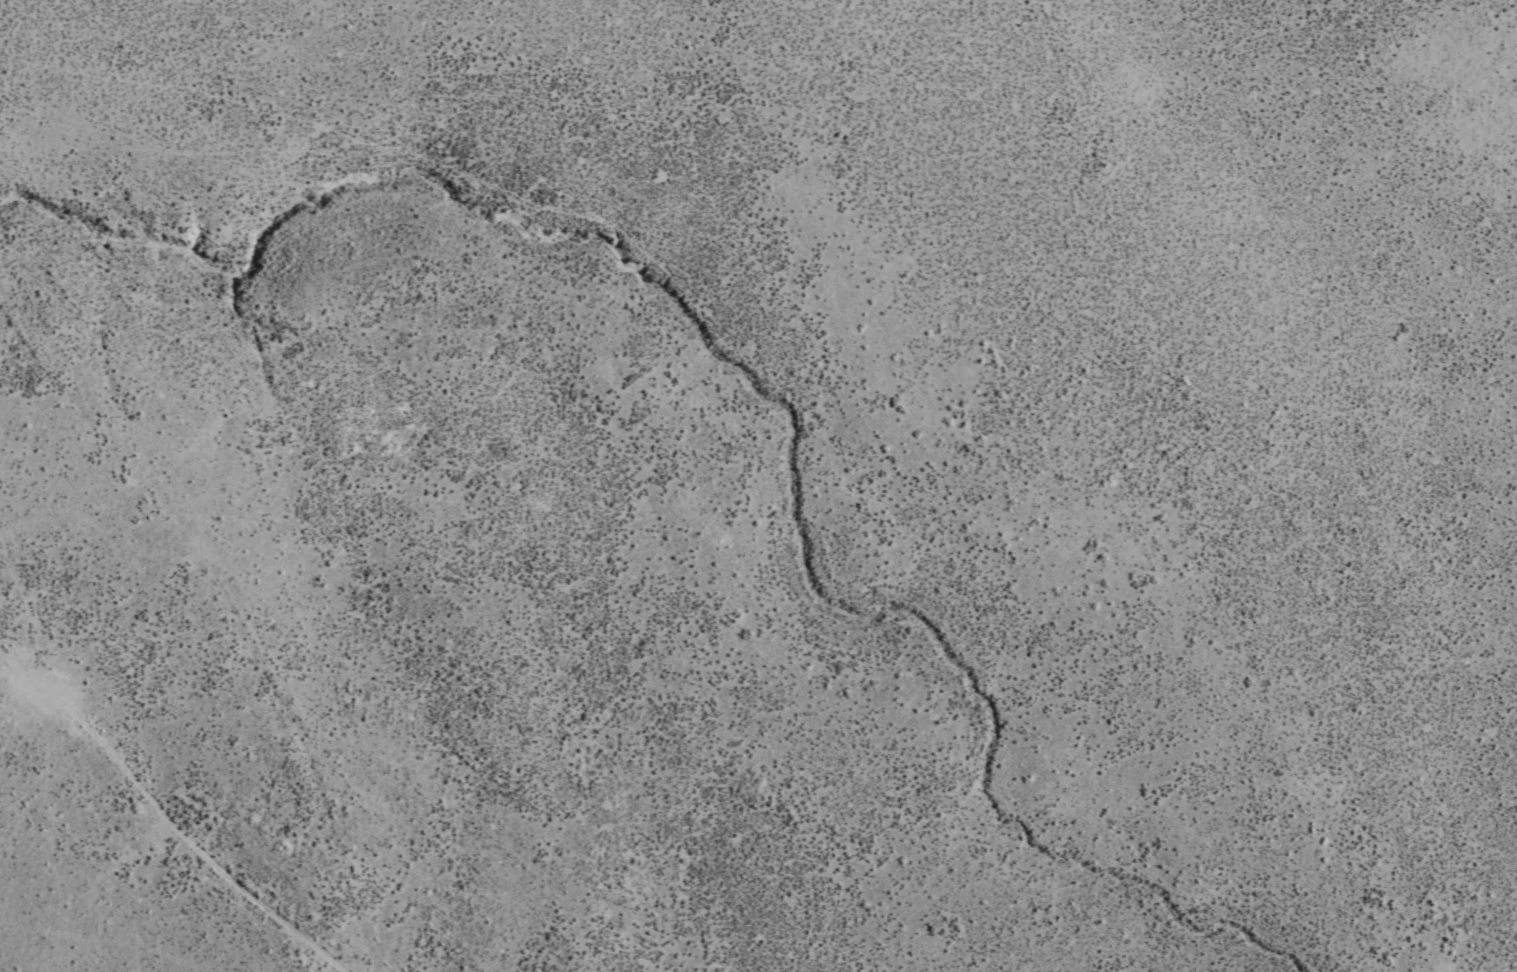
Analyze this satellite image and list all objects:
crop: (1210, 262)

